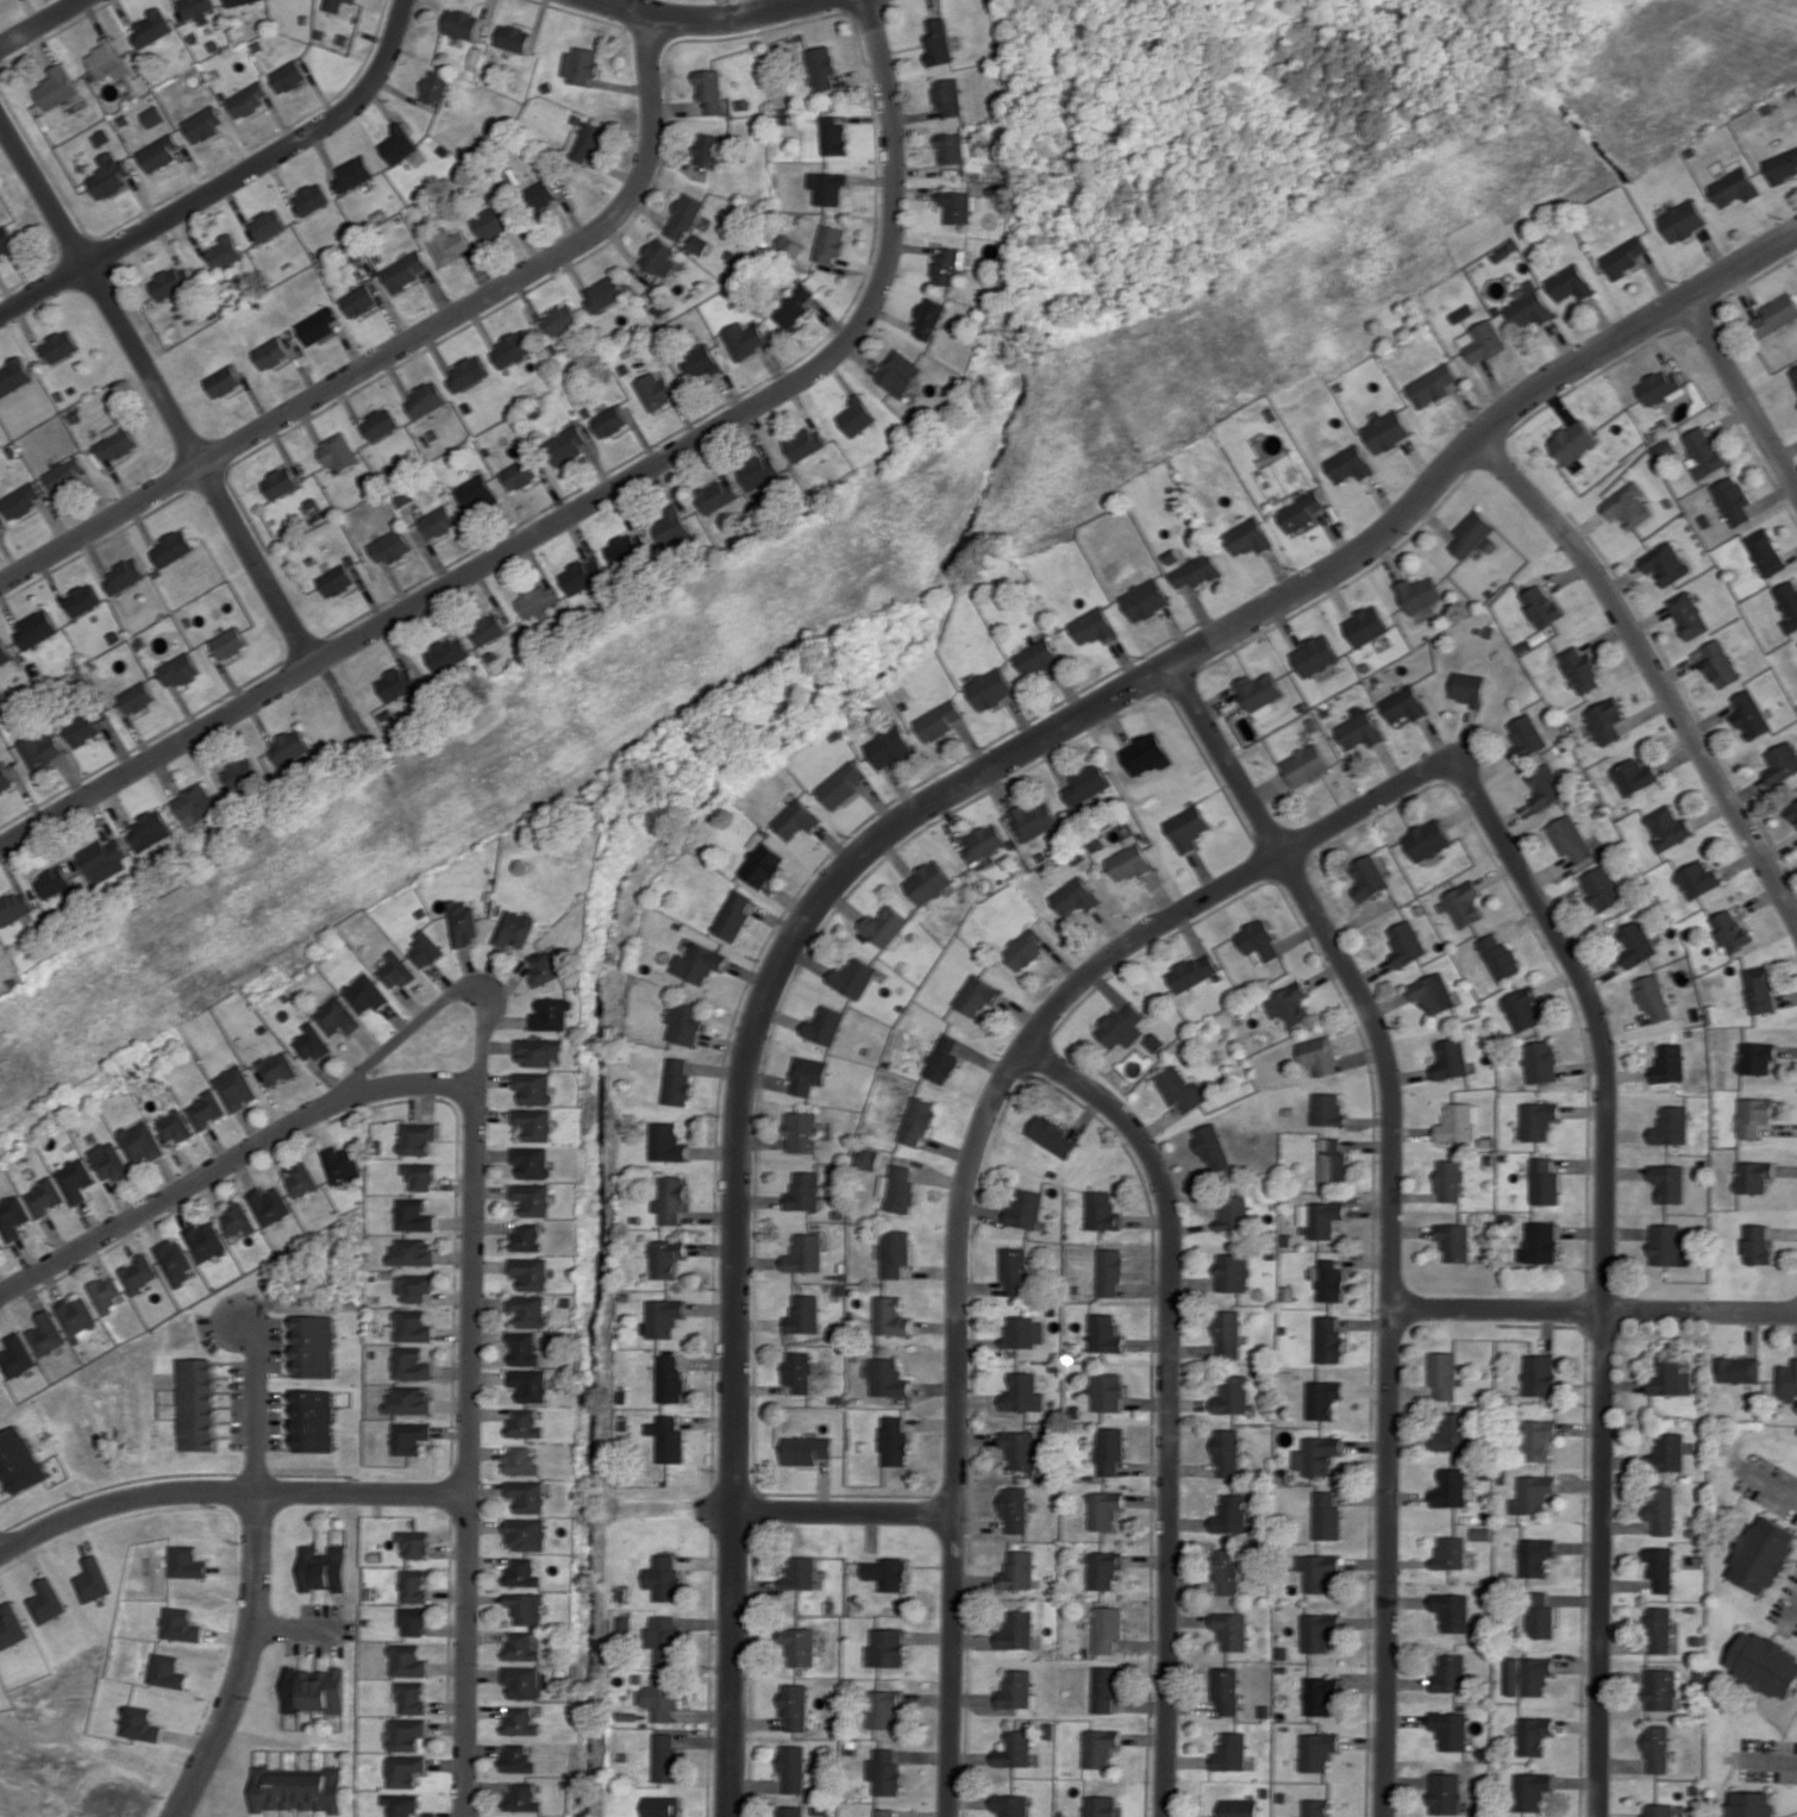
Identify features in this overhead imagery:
building: (351, 0)
building: (236, 2)
building: (332, 5)
building: (196, 10)
road: (706, 19)
road: (40, 23)
building: (461, 24)
building: (150, 27)
building: (514, 38)
building: (939, 39)
building: (106, 58)
building: (580, 64)
building: (821, 67)
building: (287, 76)
building: (56, 87)
building: (436, 87)
building: (709, 89)
building: (948, 96)
building: (246, 99)
building: (152, 115)
building: (202, 123)
building: (833, 136)
building: (586, 142)
building: (399, 144)
building: (952, 148)
building: (708, 149)
building: (157, 152)
building: (1782, 165)
building: (352, 173)
building: (107, 176)
road: (228, 181)
building: (559, 182)
building: (827, 187)
building: (1734, 187)
building: (541, 194)
building: (309, 199)
building: (957, 206)
building: (684, 215)
building: (495, 219)
building: (1682, 220)
building: (265, 224)
building: (6, 238)
building: (829, 243)
building: (450, 244)
building: (697, 244)
building: (790, 246)
building: (221, 251)
building: (658, 257)
building: (1623, 257)
building: (950, 265)
building: (406, 270)
building: (165, 283)
building: (1570, 283)
building: (603, 293)
building: (359, 300)
building: (1528, 305)
building: (794, 306)
building: (1776, 314)
building: (561, 318)
building: (928, 318)
building: (317, 325)
building: (744, 339)
building: (1482, 342)
building: (58, 345)
road: (400, 346)
building: (513, 347)
building: (270, 352)
building: (701, 362)
building: (900, 372)
building: (467, 374)
building: (13, 375)
building: (1793, 375)
building: (221, 381)
building: (1432, 386)
building: (1659, 388)
building: (655, 390)
road: (1742, 394)
building: (426, 400)
road: (170, 415)
building: (857, 416)
building: (609, 421)
building: (381, 424)
building: (1388, 431)
building: (1572, 441)
building: (113, 443)
building: (804, 443)
building: (566, 444)
building: (1665, 449)
building: (338, 452)
building: (1703, 452)
building: (1350, 464)
building: (759, 471)
building: (62, 474)
building: (519, 474)
building: (280, 482)
building: (476, 493)
building: (718, 495)
building: (403, 496)
building: (18, 500)
building: (1732, 500)
building: (1628, 506)
road: (581, 509)
building: (1301, 512)
building: (438, 521)
building: (671, 526)
building: (1472, 533)
building: (1248, 537)
building: (390, 546)
building: (627, 546)
building: (171, 547)
building: (1765, 552)
building: (1665, 563)
building: (1197, 571)
building: (582, 575)
building: (121, 576)
building: (337, 581)
building: (1420, 594)
building: (1146, 599)
building: (80, 600)
building: (538, 600)
building: (1787, 603)
building: (1542, 606)
building: (1688, 614)
building: (1366, 625)
building: (1095, 626)
building: (33, 628)
building: (487, 629)
building: (231, 643)
building: (4, 653)
building: (447, 653)
building: (1314, 654)
building: (1040, 657)
building: (1720, 664)
building: (179, 670)
building: (1579, 670)
road: (1651, 670)
building: (396, 683)
building: (991, 688)
building: (1469, 688)
building: (1259, 693)
building: (136, 697)
building: (1404, 704)
building: (1749, 715)
building: (941, 720)
building: (1605, 720)
building: (84, 726)
building: (1359, 731)
building: (1527, 735)
building: (289, 746)
building: (891, 747)
building: (40, 748)
building: (1146, 754)
road: (1226, 759)
building: (1782, 762)
building: (1304, 765)
building: (239, 772)
building: (1633, 776)
building: (5, 777)
building: (1088, 783)
building: (843, 784)
building: (1546, 788)
building: (194, 804)
building: (1792, 812)
road: (913, 814)
building: (797, 819)
building: (1037, 819)
building: (1188, 827)
building: (1666, 827)
building: (149, 829)
building: (1570, 838)
building: (1427, 839)
building: (985, 845)
building: (1132, 859)
building: (104, 860)
building: (762, 863)
building: (1367, 877)
building: (1697, 878)
building: (52, 882)
building: (929, 882)
building: (1601, 888)
building: (1076, 896)
building: (1461, 904)
building: (14, 907)
building: (733, 915)
building: (461, 922)
building: (888, 927)
building: (513, 929)
building: (1730, 929)
building: (1258, 941)
building: (1405, 942)
building: (1635, 942)
building: (424, 948)
building: (1025, 948)
building: (1499, 957)
building: (699, 963)
building: (543, 967)
building: (394, 971)
building: (1192, 971)
building: (856, 977)
building: (1759, 989)
building: (1433, 992)
building: (365, 994)
building: (978, 995)
building: (1652, 997)
road: (442, 1002)
building: (1288, 1004)
building: (1522, 1009)
building: (550, 1013)
building: (337, 1016)
building: (685, 1022)
building: (826, 1025)
building: (1122, 1026)
building: (311, 1042)
building: (538, 1051)
building: (1319, 1054)
building: (1755, 1057)
building: (944, 1059)
building: (1450, 1059)
building: (1540, 1061)
building: (1668, 1063)
building: (276, 1067)
building: (809, 1074)
building: (677, 1080)
building: (533, 1086)
building: (234, 1088)
building: (1181, 1090)
building: (205, 1109)
building: (1326, 1109)
building: (1753, 1116)
building: (1538, 1120)
building: (919, 1121)
building: (1459, 1121)
building: (534, 1123)
building: (1671, 1126)
building: (173, 1127)
building: (803, 1132)
building: (417, 1136)
building: (1053, 1136)
building: (138, 1141)
building: (668, 1142)
building: (1211, 1147)
road: (221, 1155)
building: (869, 1158)
building: (1330, 1159)
building: (106, 1160)
building: (532, 1160)
road: (971, 1161)
building: (342, 1164)
building: (419, 1174)
building: (1753, 1176)
building: (300, 1179)
building: (1448, 1179)
building: (73, 1180)
building: (1544, 1182)
building: (1668, 1182)
building: (898, 1188)
building: (806, 1190)
building: (532, 1198)
building: (672, 1199)
building: (269, 1205)
building: (26, 1207)
building: (1026, 1209)
building: (1102, 1210)
building: (1232, 1213)
building: (413, 1215)
building: (236, 1220)
building: (527, 1238)
building: (205, 1241)
building: (1454, 1241)
building: (1539, 1241)
building: (1757, 1243)
building: (1667, 1245)
building: (413, 1252)
building: (895, 1252)
building: (806, 1253)
building: (668, 1258)
building: (175, 1261)
building: (1014, 1270)
building: (531, 1272)
building: (1109, 1272)
building: (1232, 1272)
road: (1603, 1272)
building: (139, 1273)
building: (1327, 1282)
building: (414, 1286)
building: (105, 1293)
building: (530, 1310)
road: (1593, 1311)
building: (804, 1314)
building: (76, 1316)
building: (889, 1316)
building: (665, 1317)
road: (1390, 1322)
building: (413, 1326)
building: (1022, 1332)
building: (1103, 1333)
building: (1228, 1333)
building: (46, 1334)
building: (1326, 1340)
building: (315, 1346)
building: (525, 1347)
building: (15, 1355)
building: (412, 1364)
building: (1736, 1368)
building: (797, 1371)
building: (1441, 1374)
building: (1539, 1374)
building: (1668, 1377)
building: (887, 1378)
building: (671, 1379)
building: (1786, 1381)
building: (531, 1385)
building: (1106, 1391)
building: (1020, 1393)
building: (1232, 1395)
building: (1321, 1398)
road: (1170, 1399)
building: (409, 1401)
road: (253, 1403)
building: (196, 1404)
building: (314, 1420)
building: (526, 1423)
building: (1451, 1431)
building: (411, 1437)
building: (669, 1437)
building: (1536, 1439)
building: (893, 1441)
building: (1016, 1448)
road: (463, 1449)
building: (806, 1449)
building: (1108, 1449)
building: (1226, 1453)
building: (1666, 1453)
building: (1316, 1454)
building: (522, 1460)
building: (17, 1461)
building: (1448, 1487)
road: (1782, 1489)
road: (225, 1491)
building: (1530, 1493)
building: (528, 1495)
building: (1012, 1509)
building: (1102, 1509)
building: (1660, 1509)
road: (825, 1512)
building: (1229, 1514)
building: (1325, 1515)
building: (527, 1534)
building: (415, 1543)
building: (1447, 1553)
building: (1761, 1555)
building: (1534, 1556)
building: (183, 1561)
building: (1659, 1567)
building: (324, 1568)
building: (1101, 1568)
building: (1226, 1569)
building: (1015, 1571)
building: (1317, 1571)
building: (800, 1572)
building: (524, 1573)
building: (887, 1573)
building: (665, 1577)
building: (88, 1579)
building: (415, 1585)
building: (42, 1600)
road: (1795, 1606)
building: (527, 1608)
building: (1450, 1610)
building: (1538, 1616)
building: (414, 1621)
building: (177, 1624)
building: (8, 1625)
building: (1104, 1628)
building: (1014, 1629)
building: (1228, 1629)
building: (1658, 1629)
building: (1316, 1630)
building: (664, 1637)
building: (800, 1644)
building: (525, 1646)
building: (888, 1647)
building: (408, 1660)
road: (245, 1661)
building: (1764, 1665)
building: (164, 1671)
building: (1446, 1673)
building: (1527, 1675)
building: (524, 1681)
building: (1013, 1688)
building: (1102, 1688)
building: (1659, 1688)
building: (314, 1690)
building: (1222, 1690)
building: (1317, 1694)
building: (412, 1697)
building: (662, 1697)
building: (795, 1708)
building: (884, 1708)
building: (521, 1721)
building: (138, 1724)
building: (1447, 1729)
building: (407, 1733)
building: (1532, 1735)
building: (1098, 1747)
building: (1655, 1748)
building: (1014, 1749)
building: (1315, 1750)
building: (1227, 1752)
building: (519, 1758)
building: (666, 1758)
road: (1772, 1758)
building: (793, 1768)
building: (406, 1769)
building: (885, 1771)
building: (298, 1788)
building: (1529, 1791)
building: (1444, 1793)
building: (524, 1797)
building: (401, 1804)
building: (1751, 1804)
building: (1010, 1805)
building: (662, 1806)
building: (1100, 1806)
building: (1236, 1807)
building: (1314, 1807)
building: (1658, 1810)
building: (790, 1811)
building: (885, 1812)

